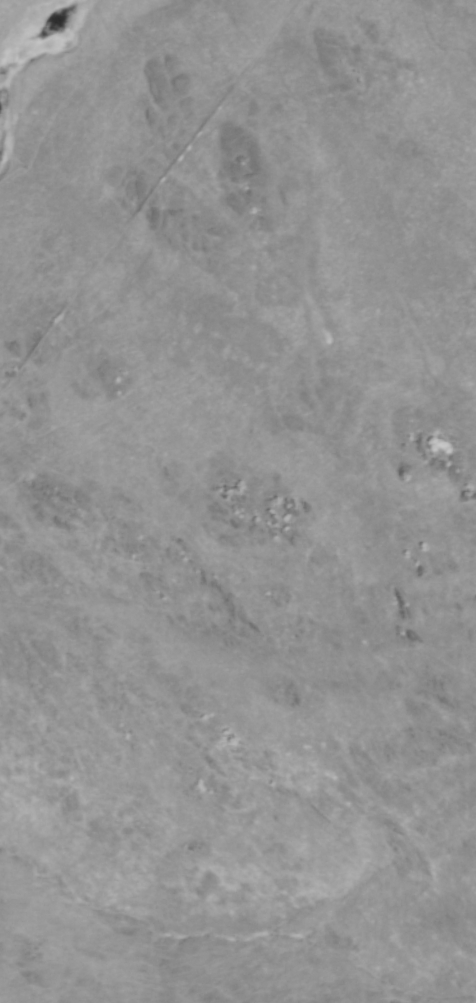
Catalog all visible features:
road: (149, 195)

